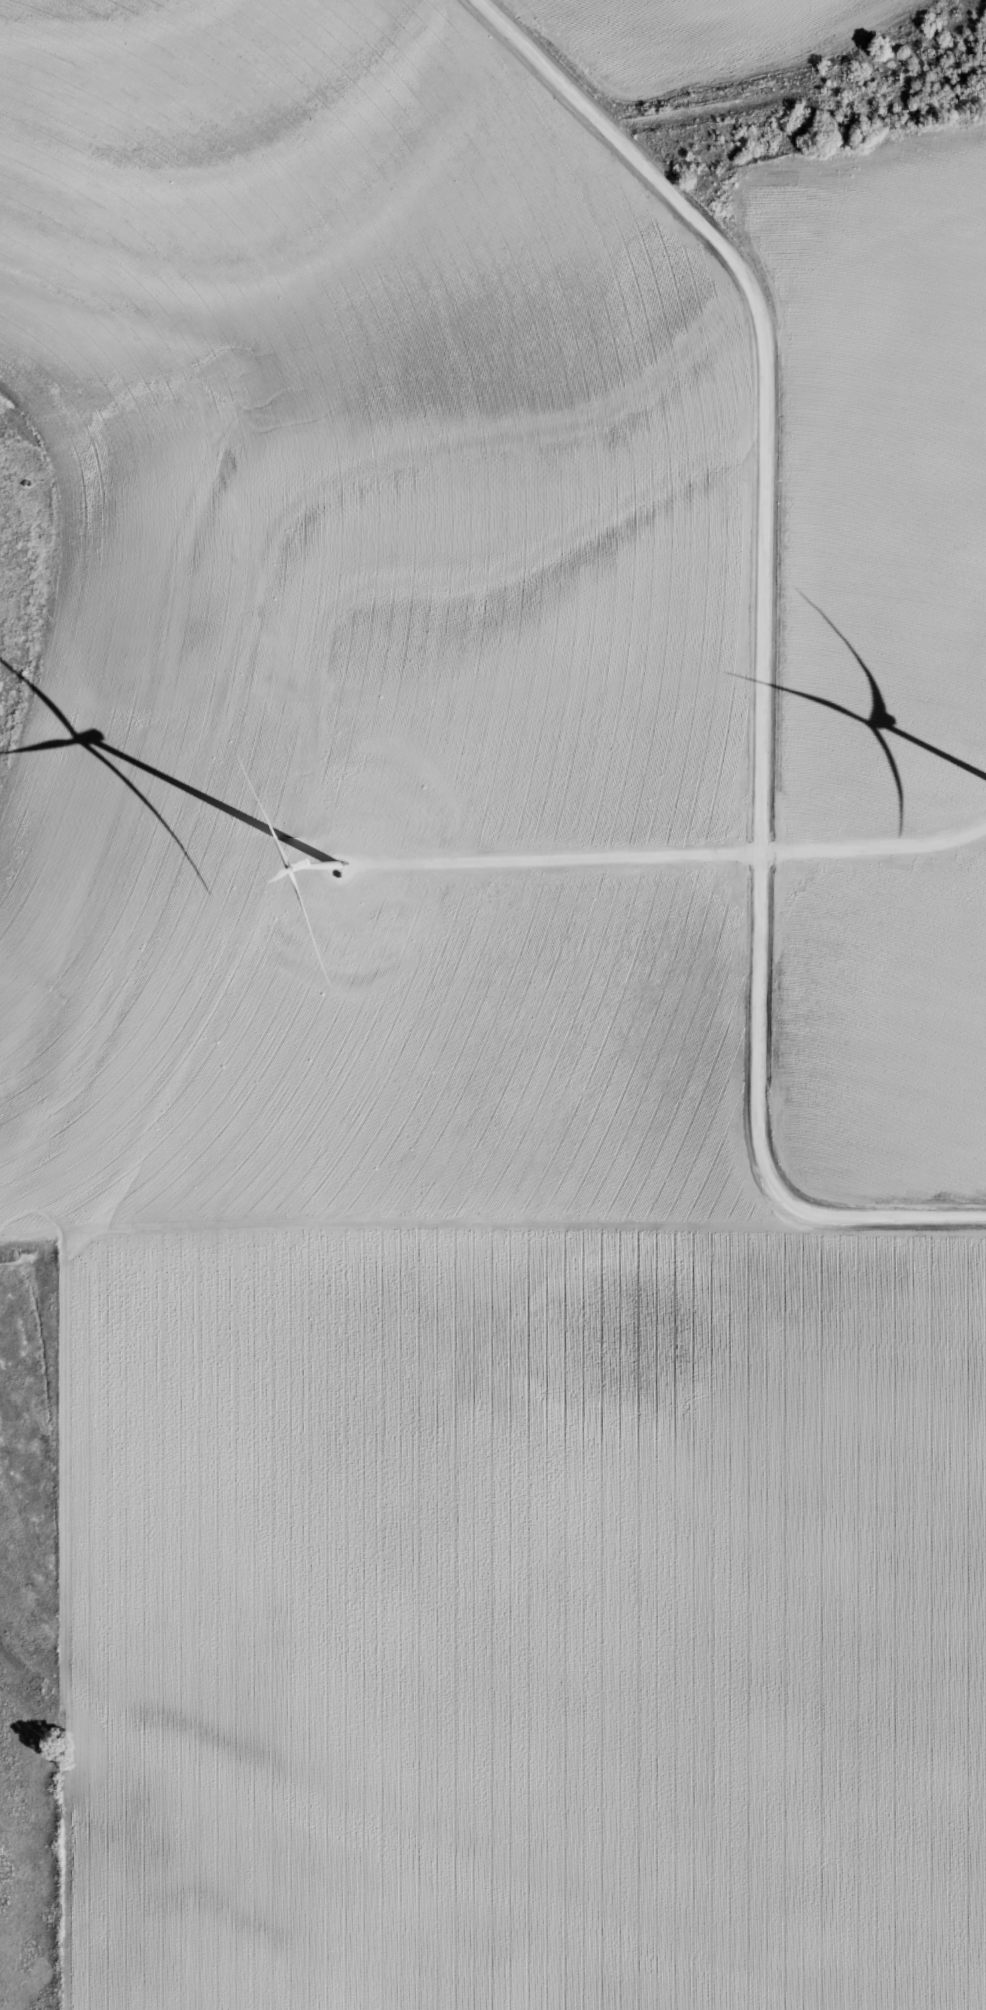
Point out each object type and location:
road: (768, 644)
wind turbine: (339, 867)

